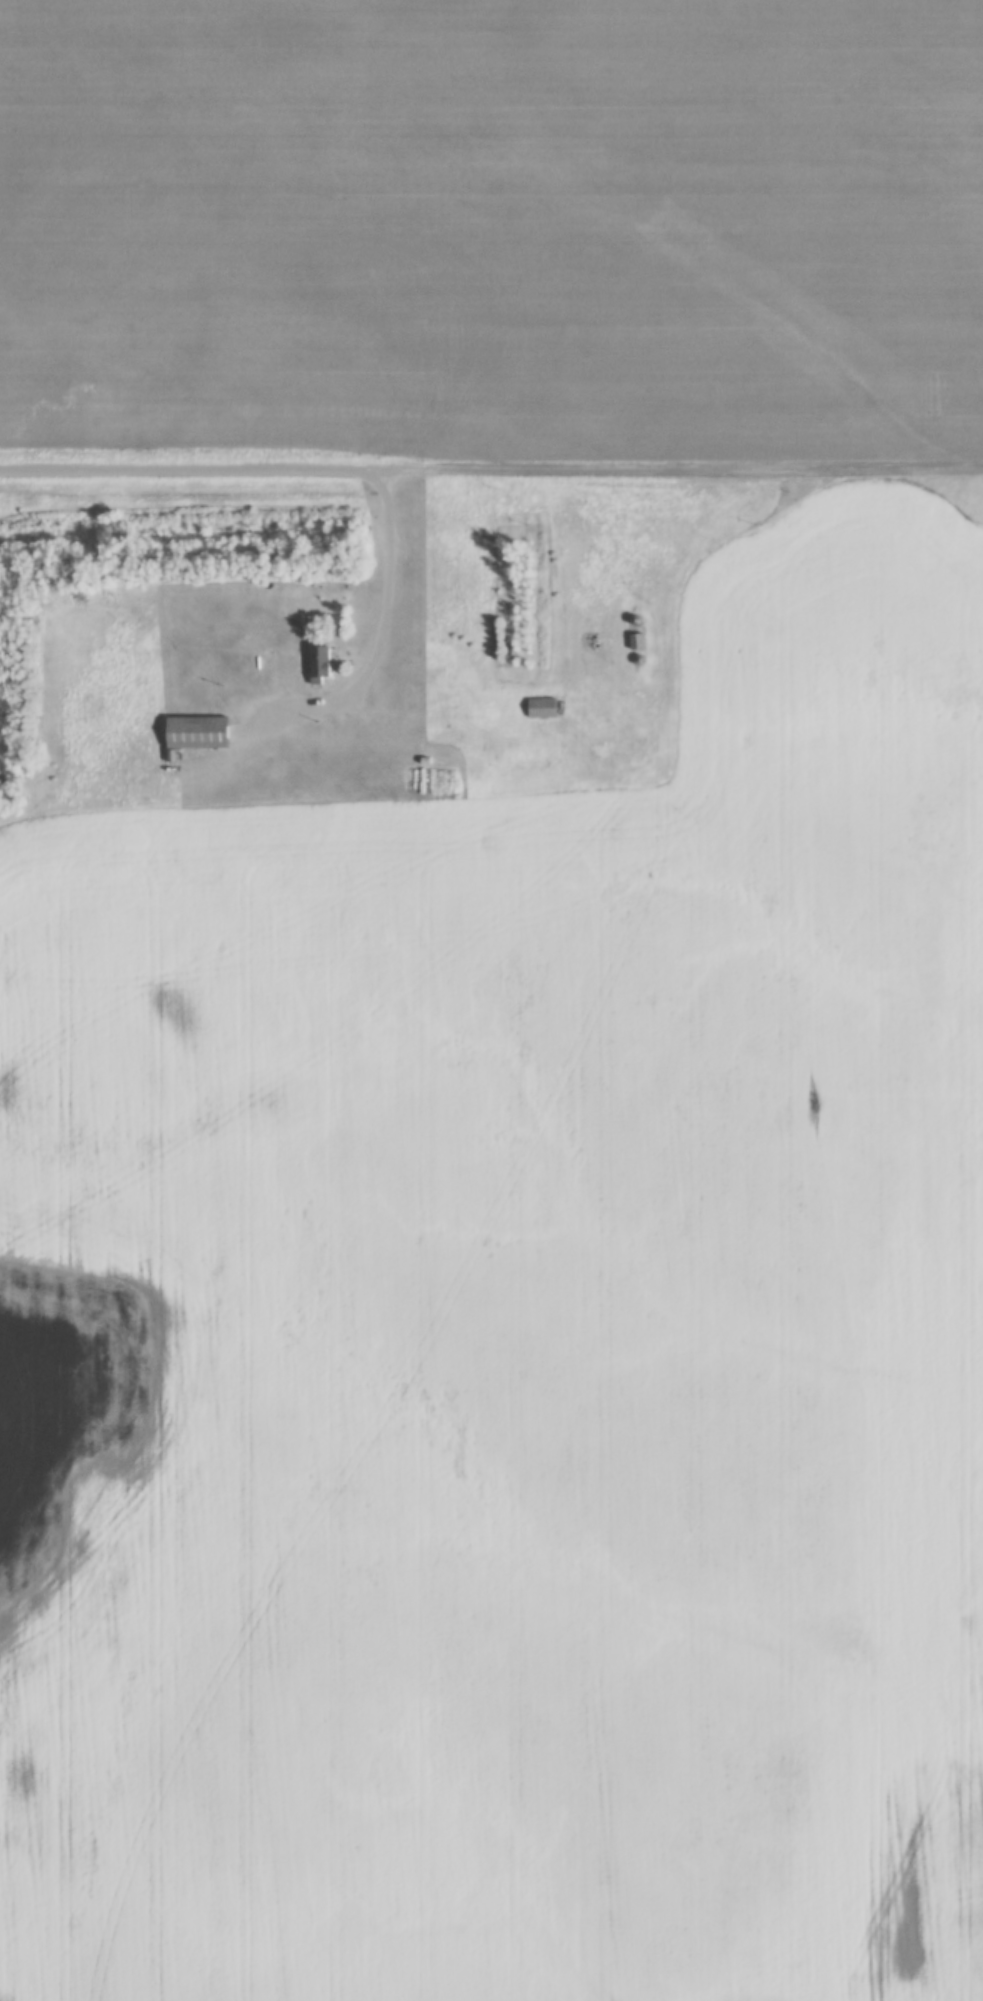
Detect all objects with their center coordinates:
road: (686, 467)
road: (195, 469)
road: (387, 627)
building: (324, 663)
building: (543, 708)
building: (198, 733)

